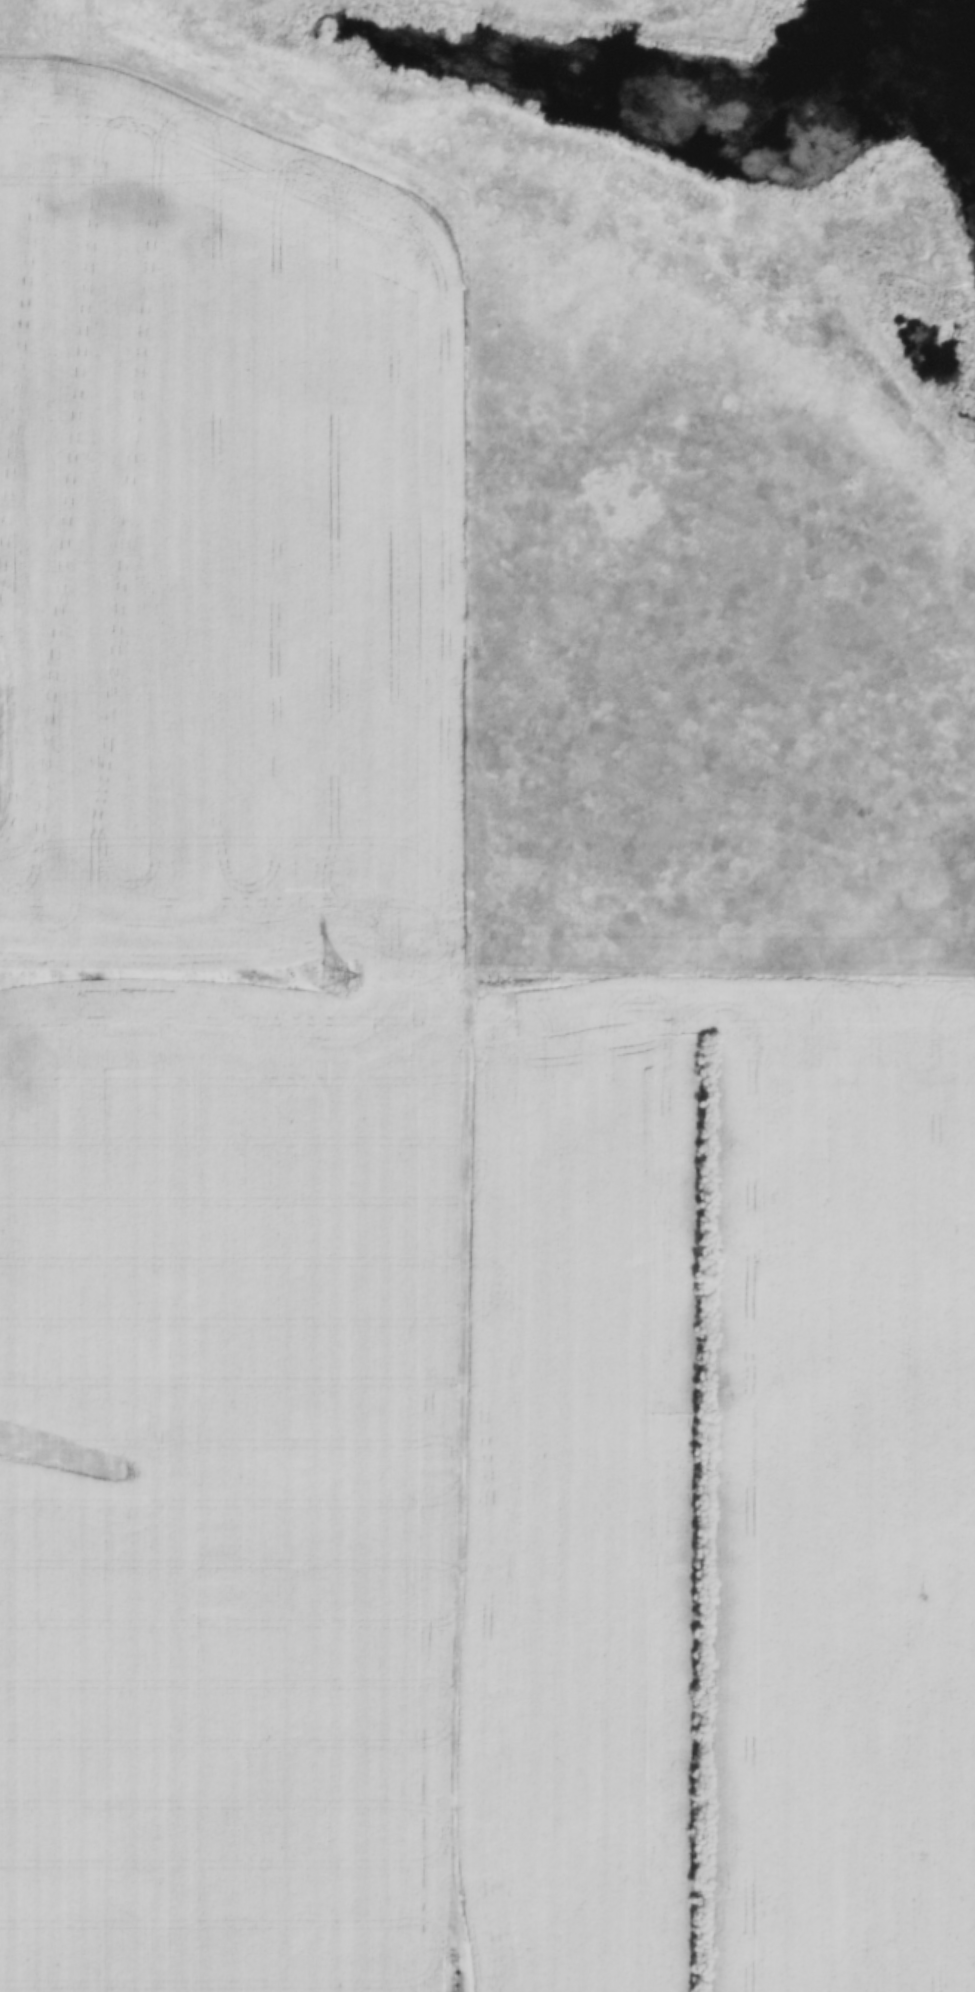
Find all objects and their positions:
power tower: (332, 976)

